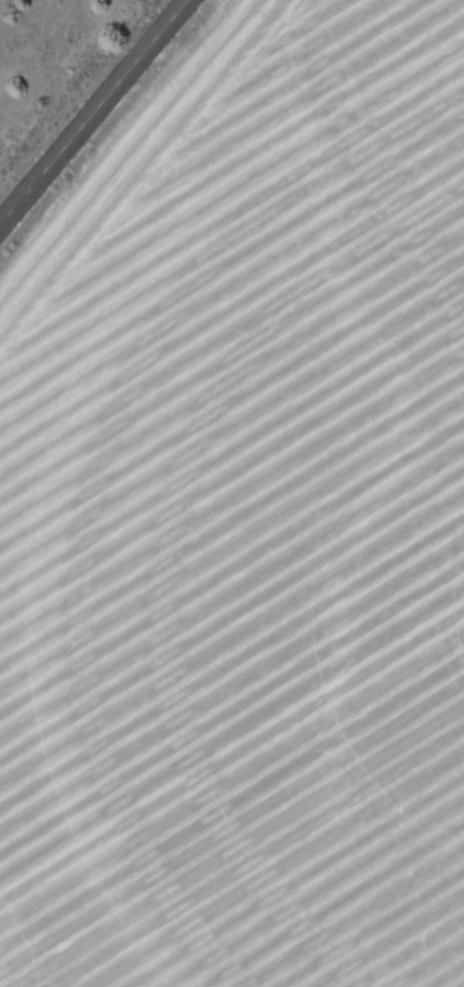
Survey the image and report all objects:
road: (93, 112)
crop: (243, 522)

